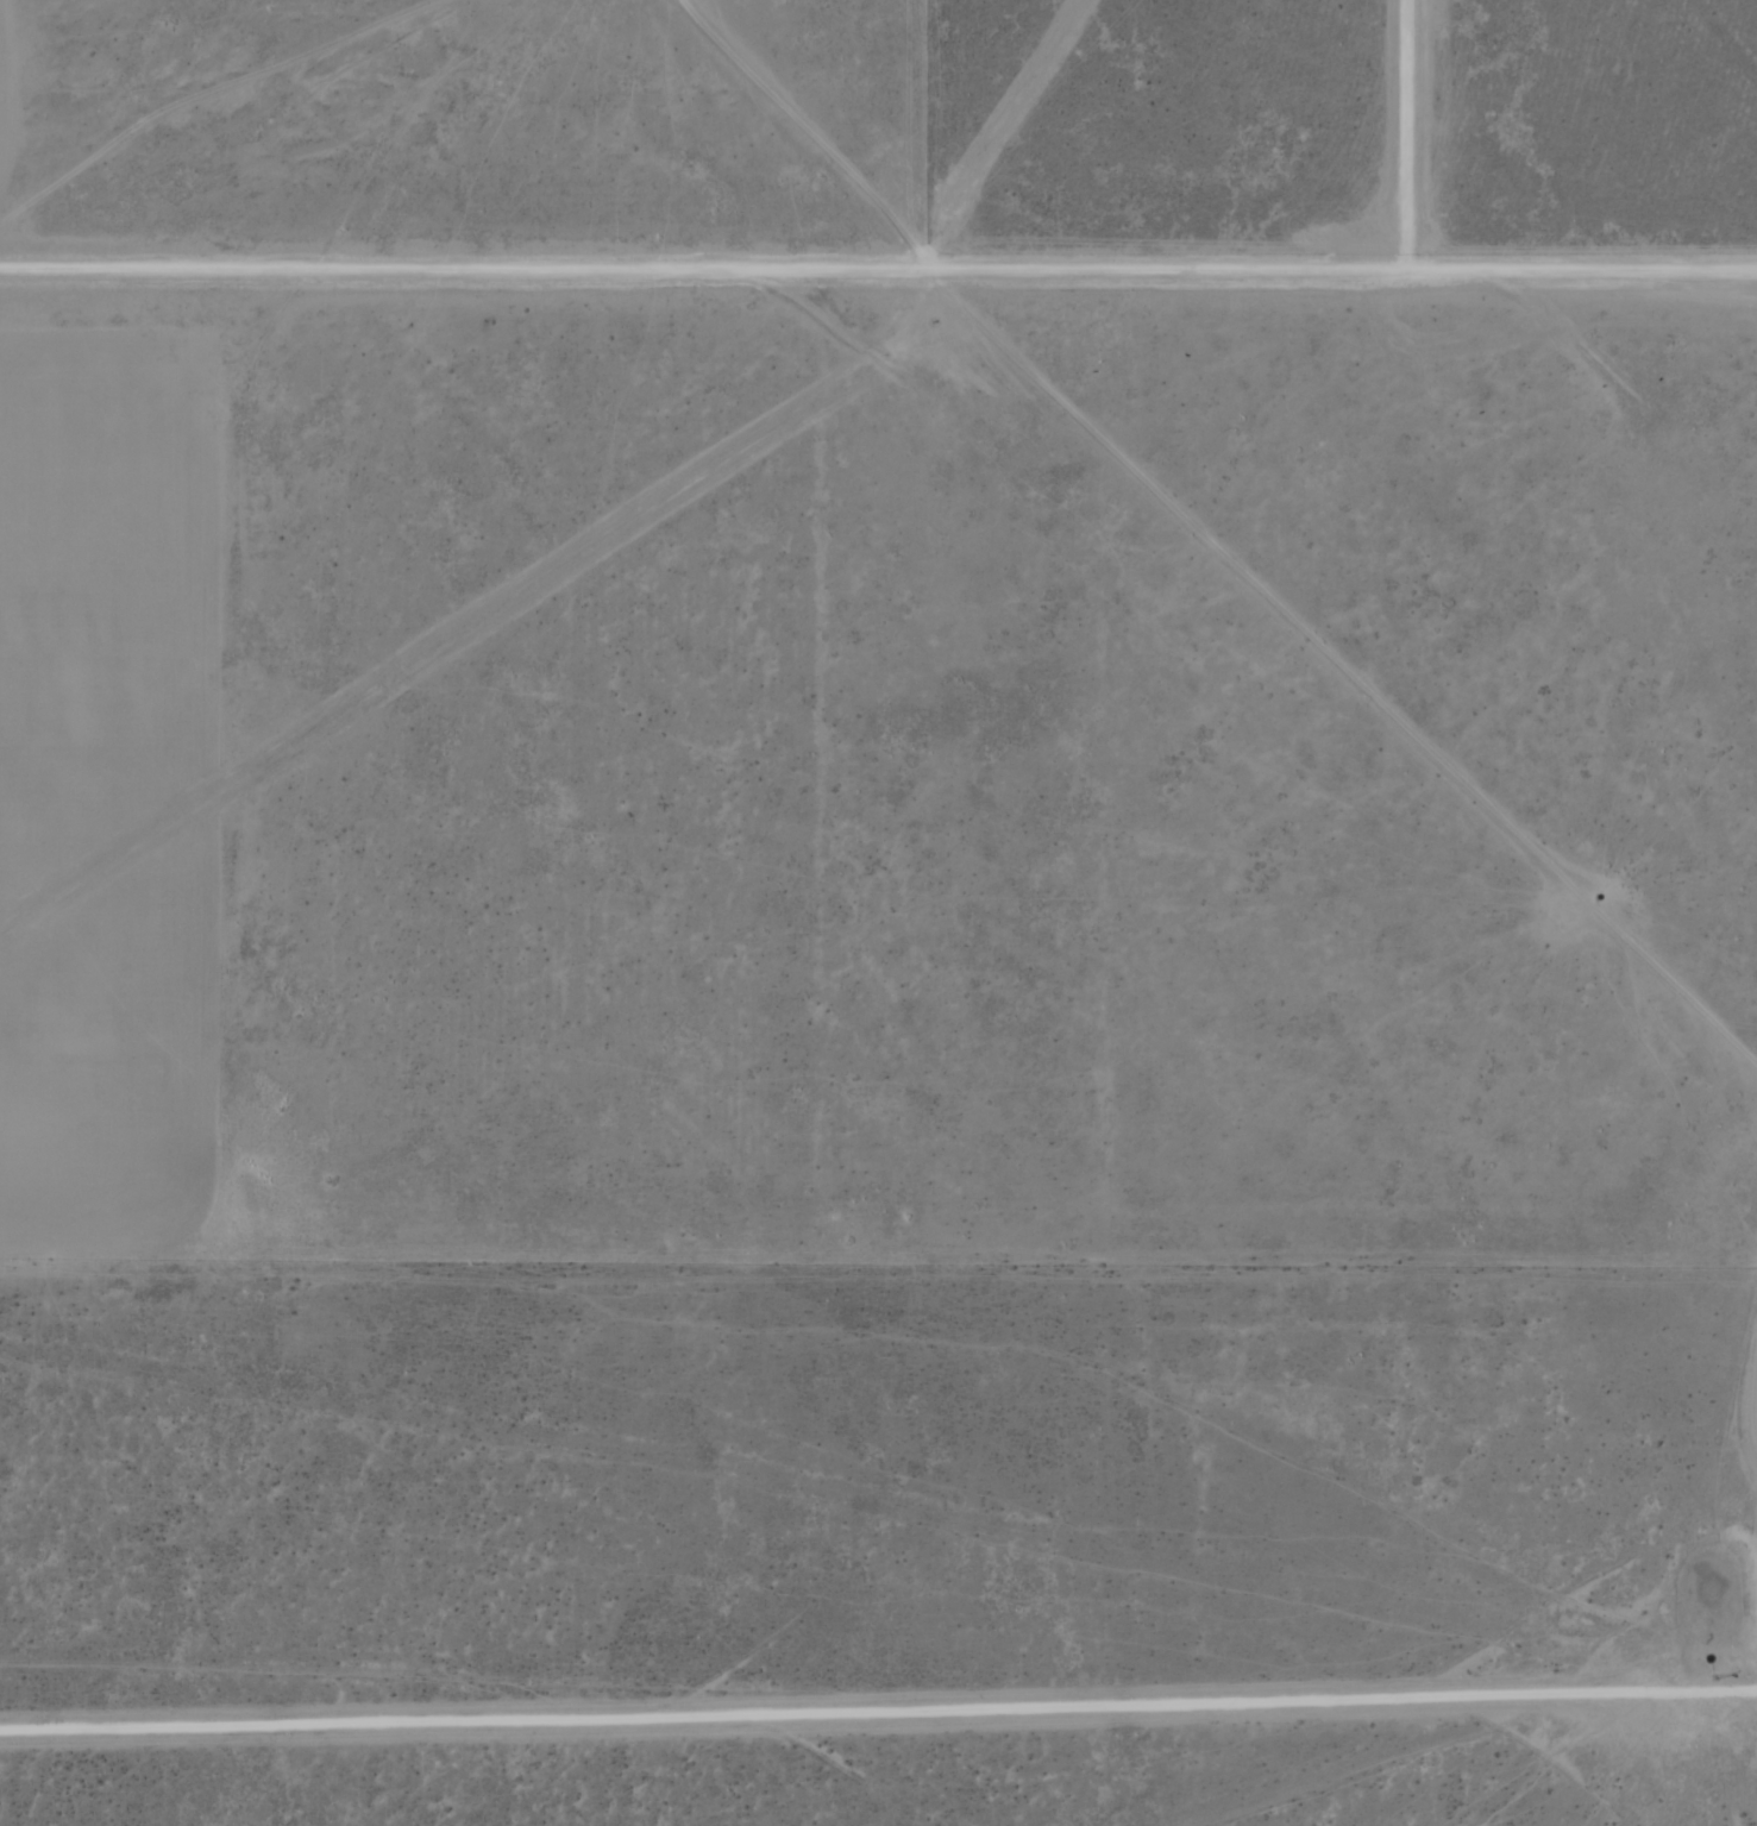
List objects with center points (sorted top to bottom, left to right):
road: (878, 271)
road: (887, 1688)
road: (1229, 1790)

